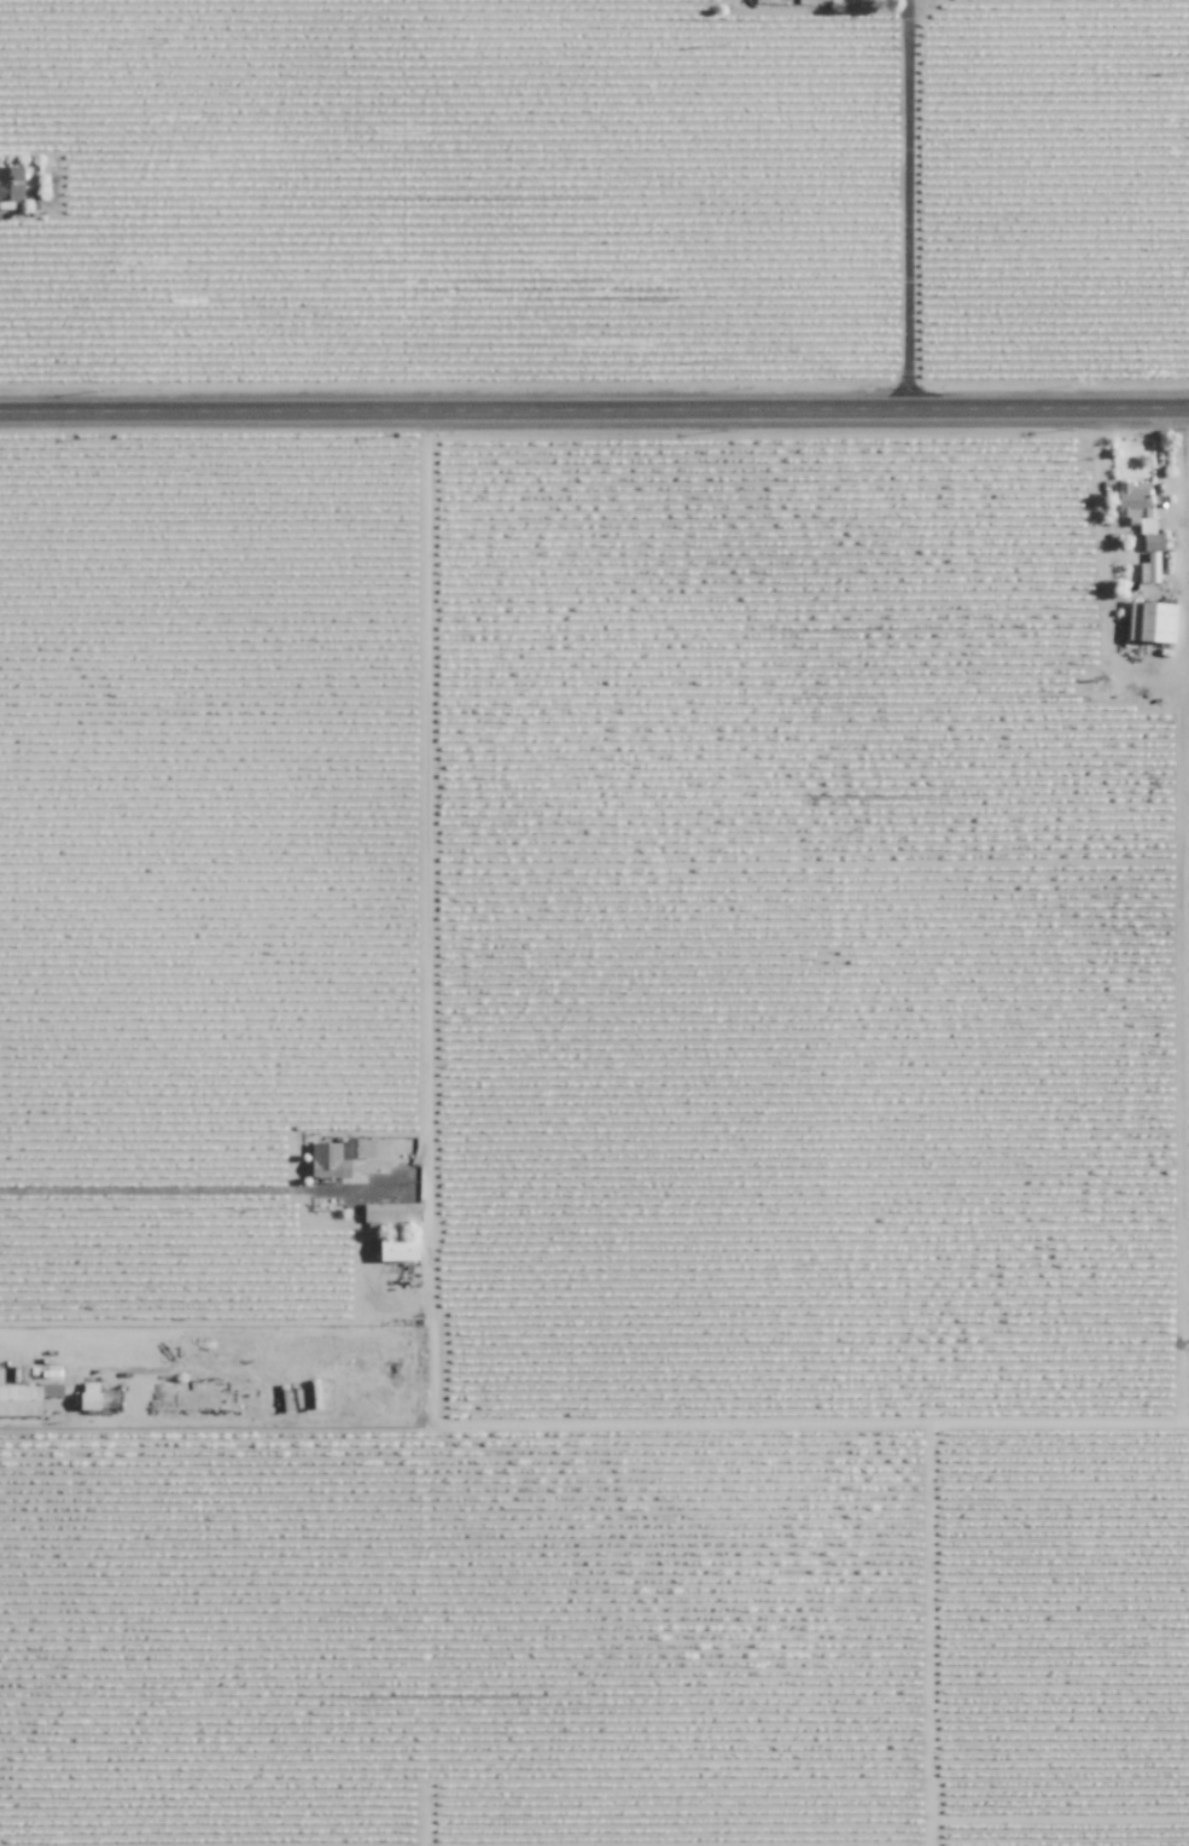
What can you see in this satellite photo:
road: (905, 208)
road: (594, 417)
building: (1137, 503)
road: (427, 928)
building: (330, 1161)
road: (163, 1190)
building: (402, 1250)
building: (22, 1399)
road: (594, 1439)

